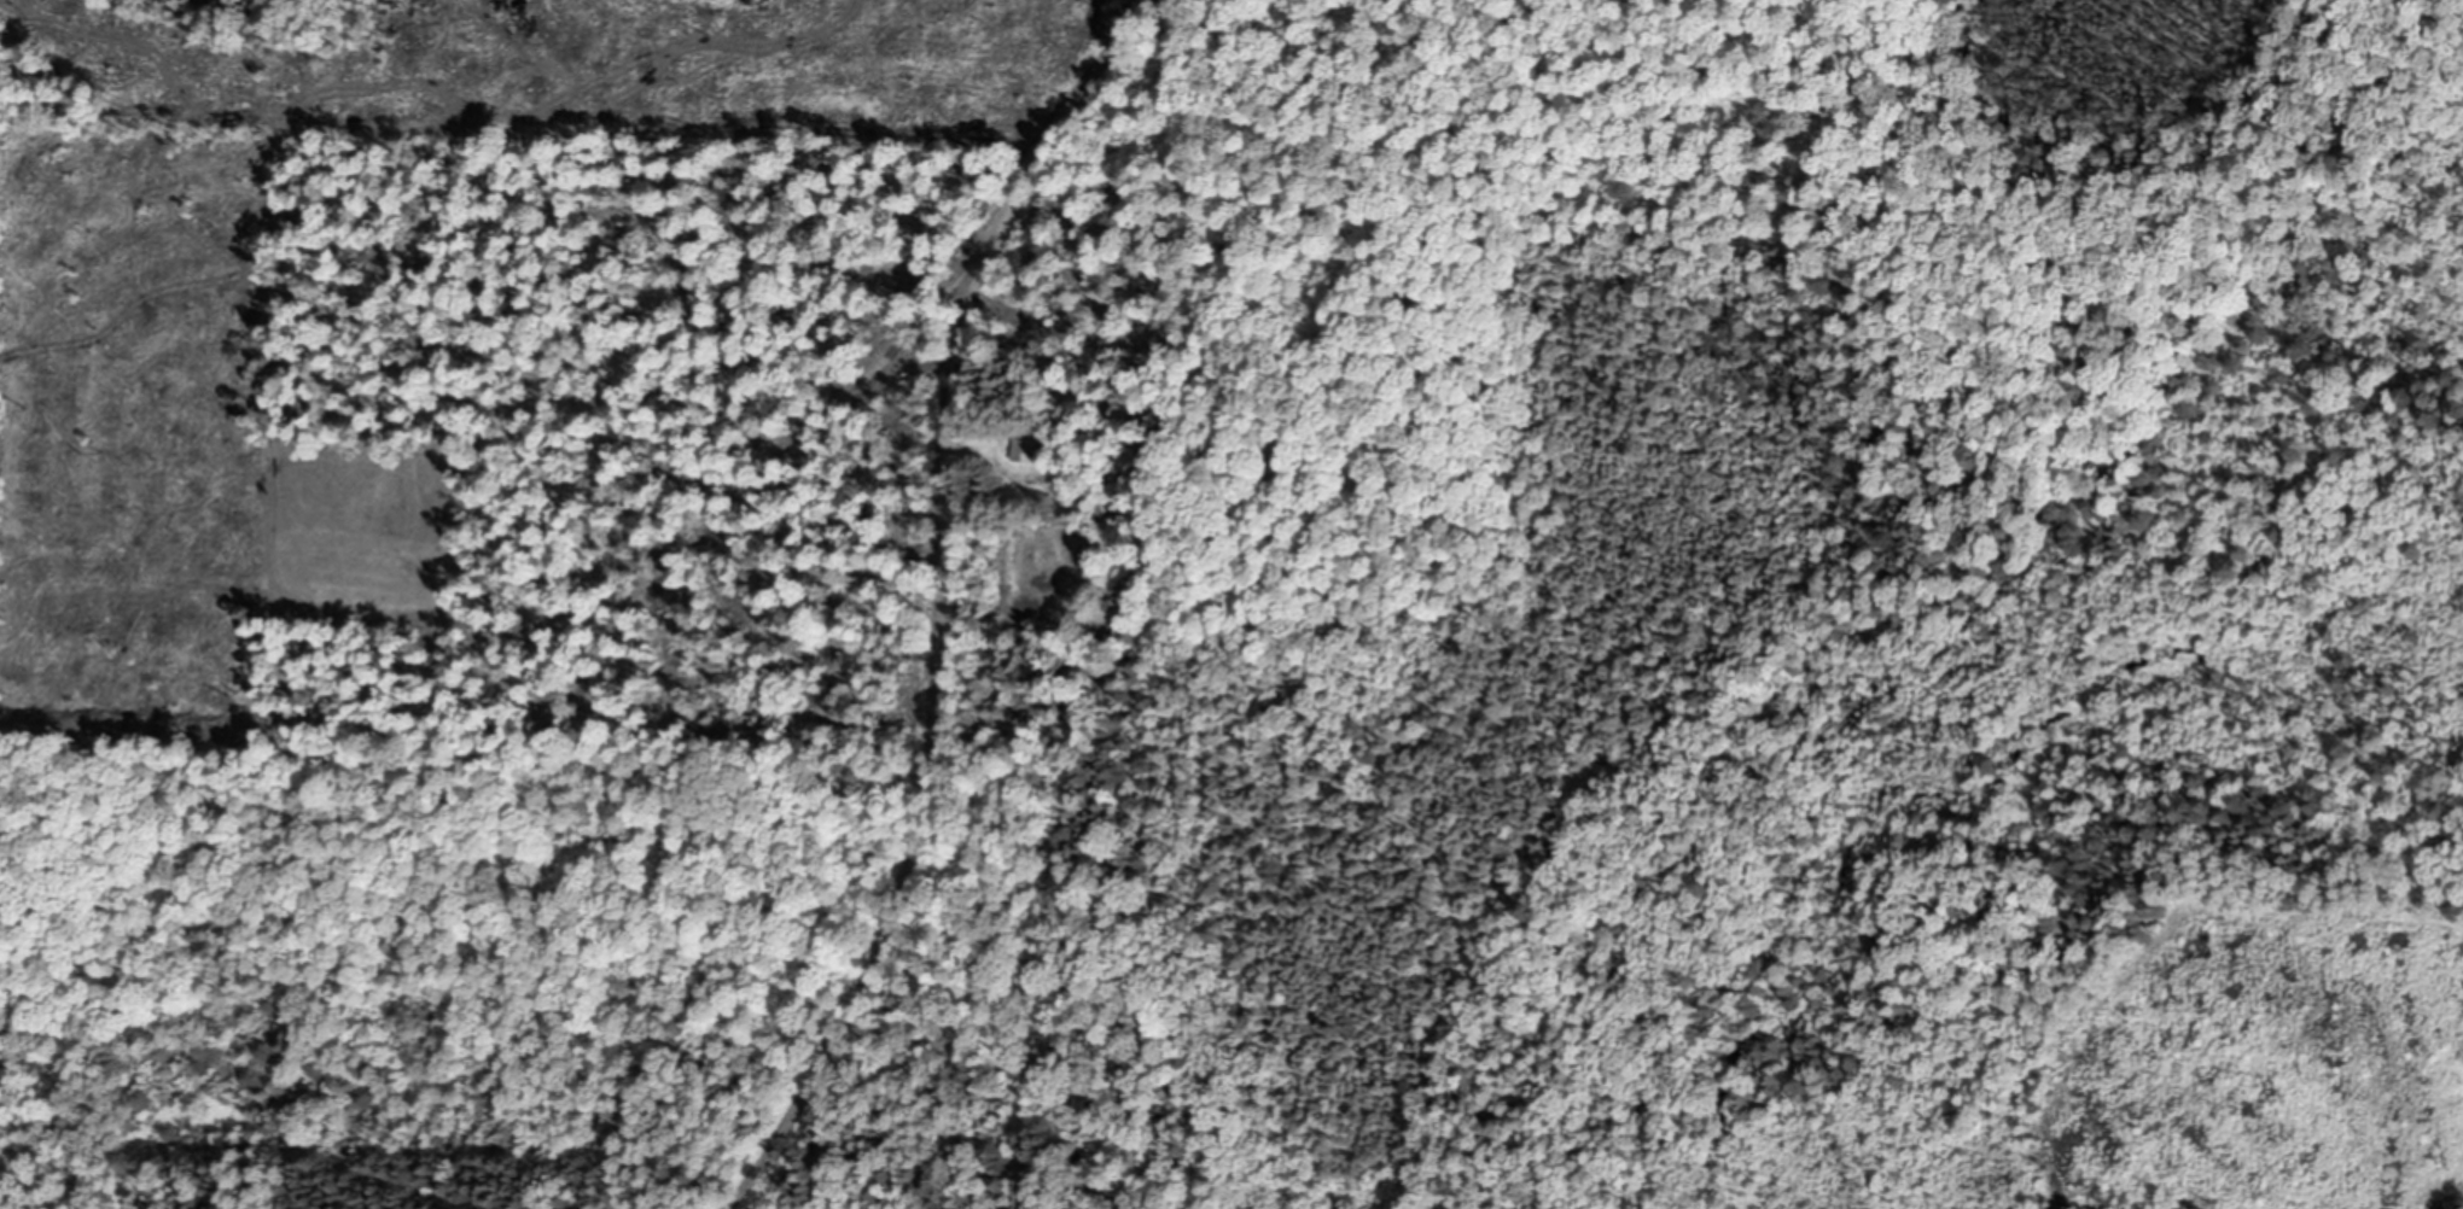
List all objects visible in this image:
building: (1037, 444)
road: (943, 603)
road: (1003, 1051)

